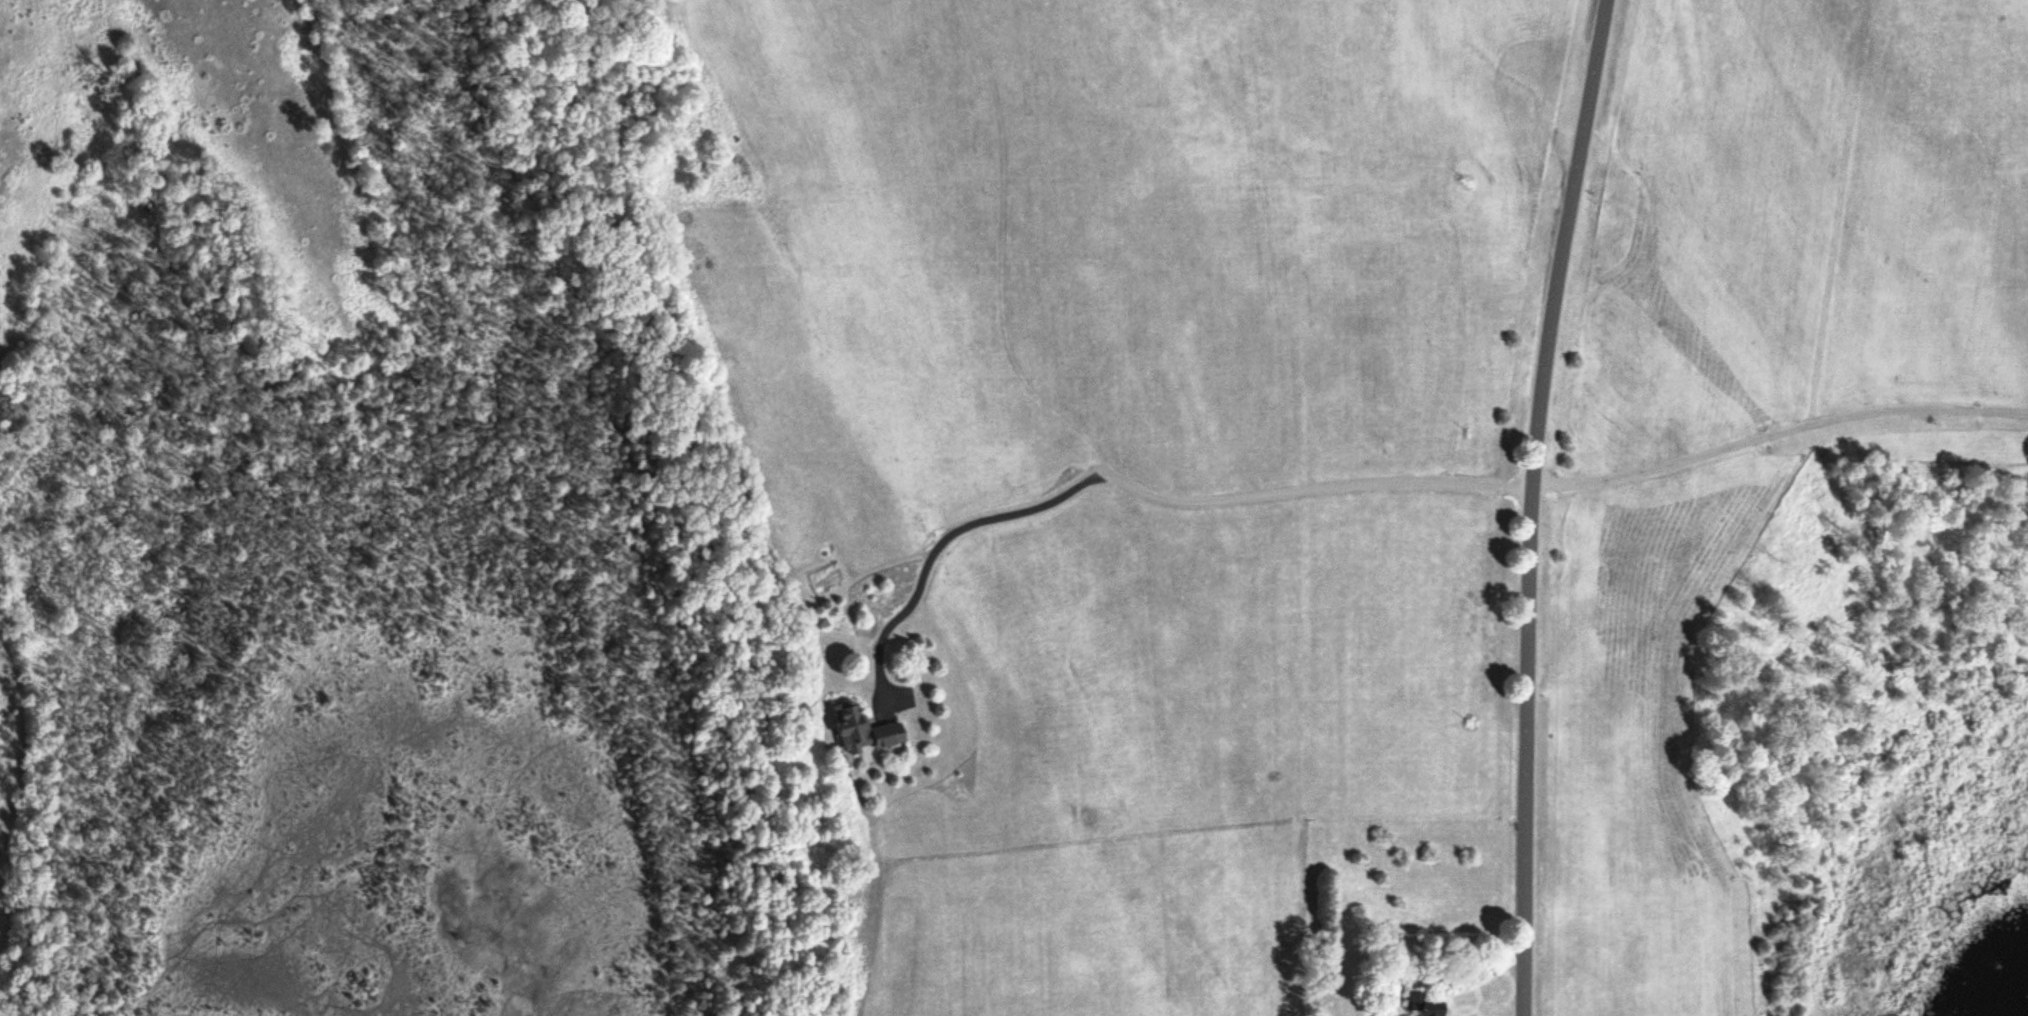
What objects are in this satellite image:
road: (1309, 490)
road: (1527, 504)
building: (864, 730)
building: (1425, 1005)

